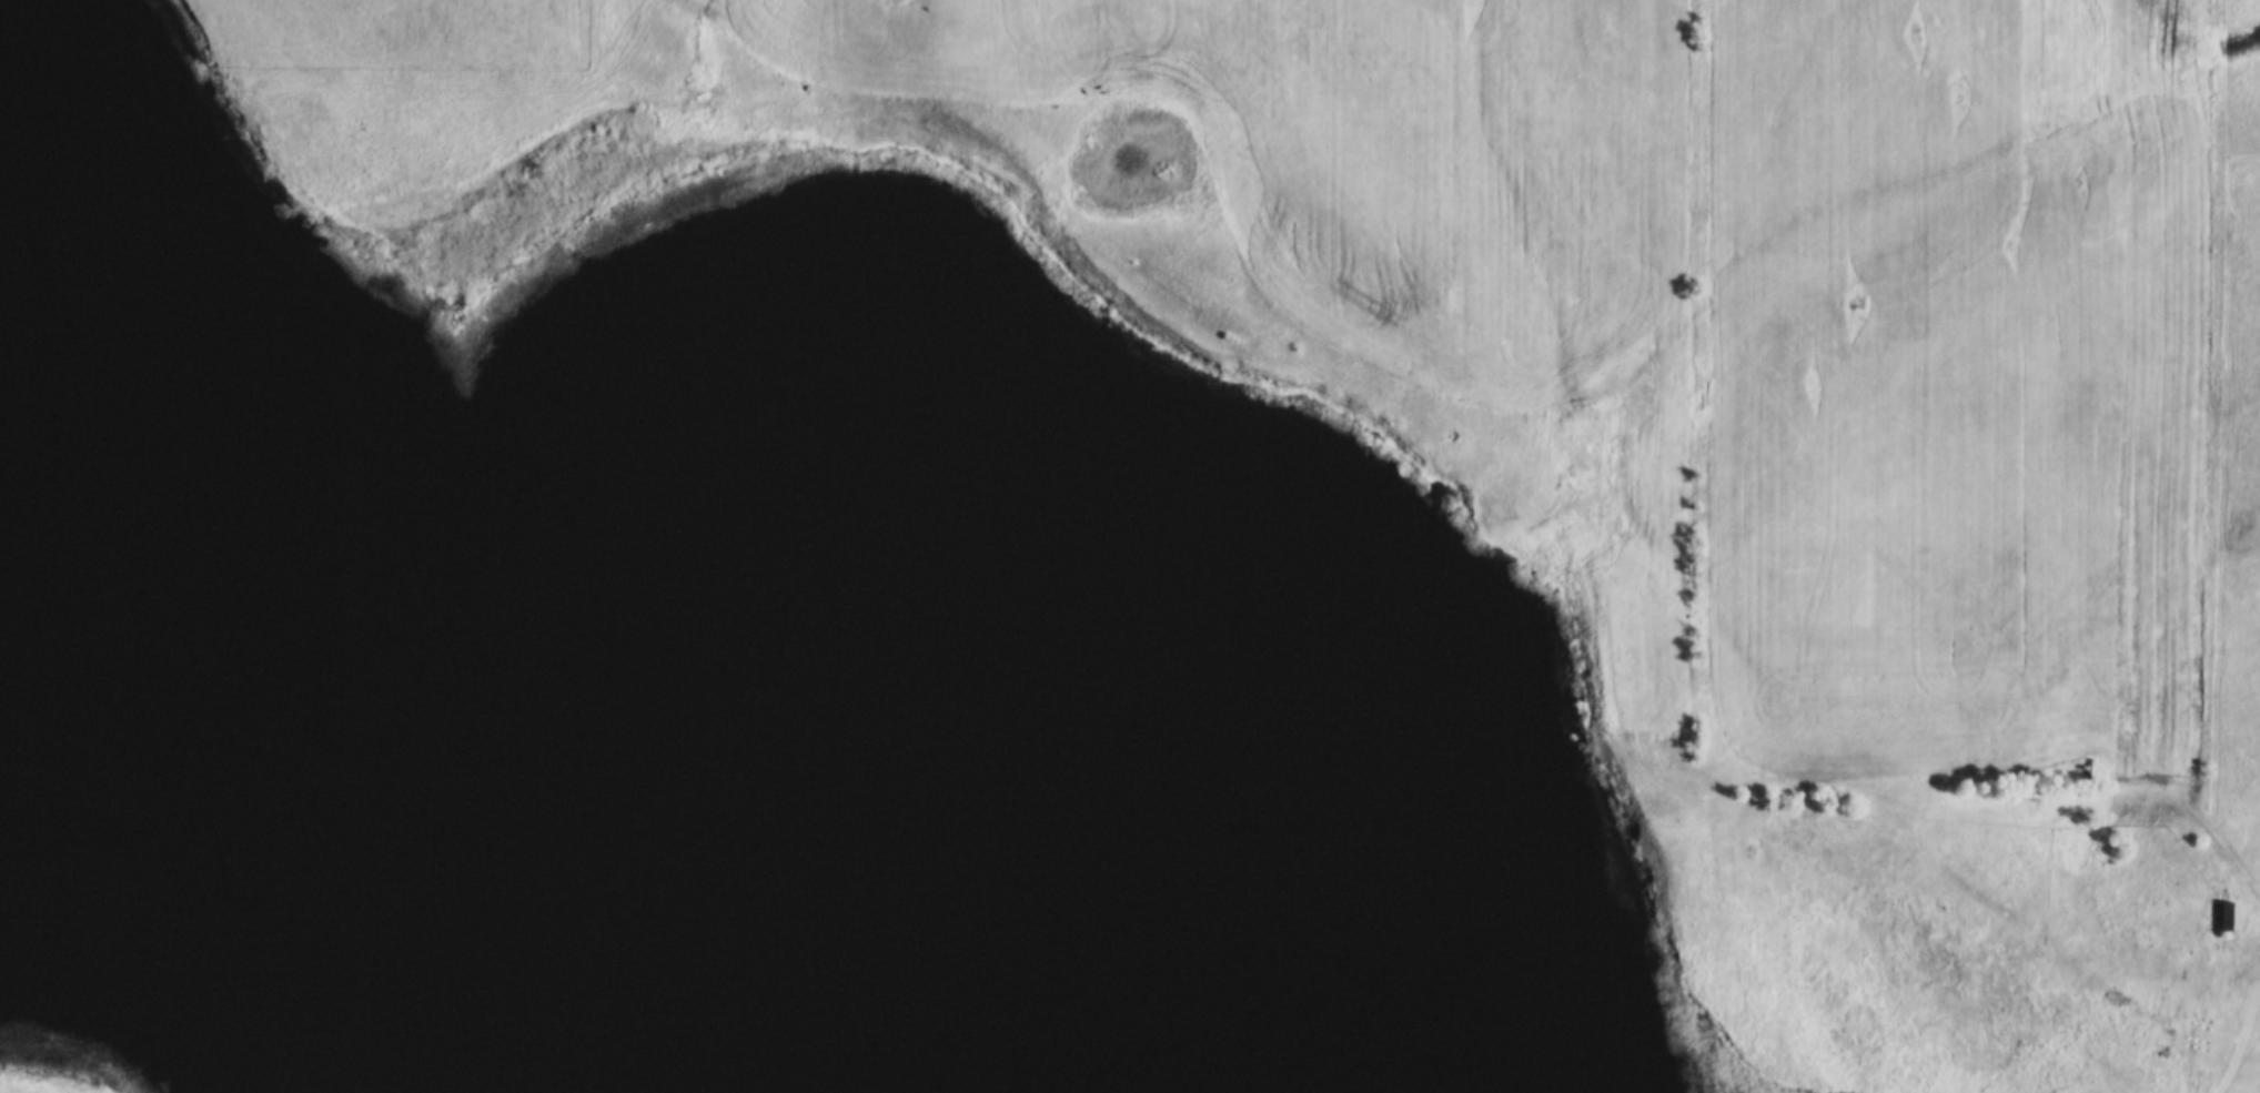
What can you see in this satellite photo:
road: (2223, 840)
building: (2226, 919)
road: (2227, 984)

